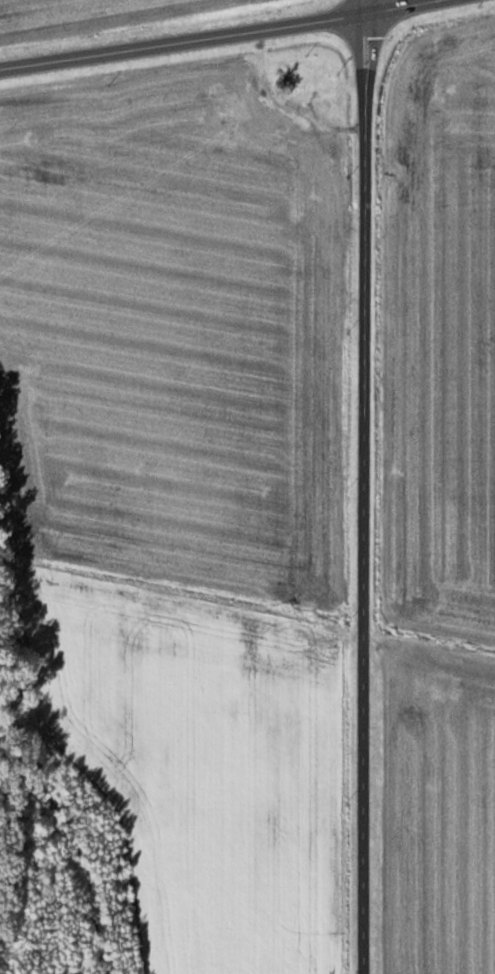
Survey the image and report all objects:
road: (214, 36)
road: (363, 486)

